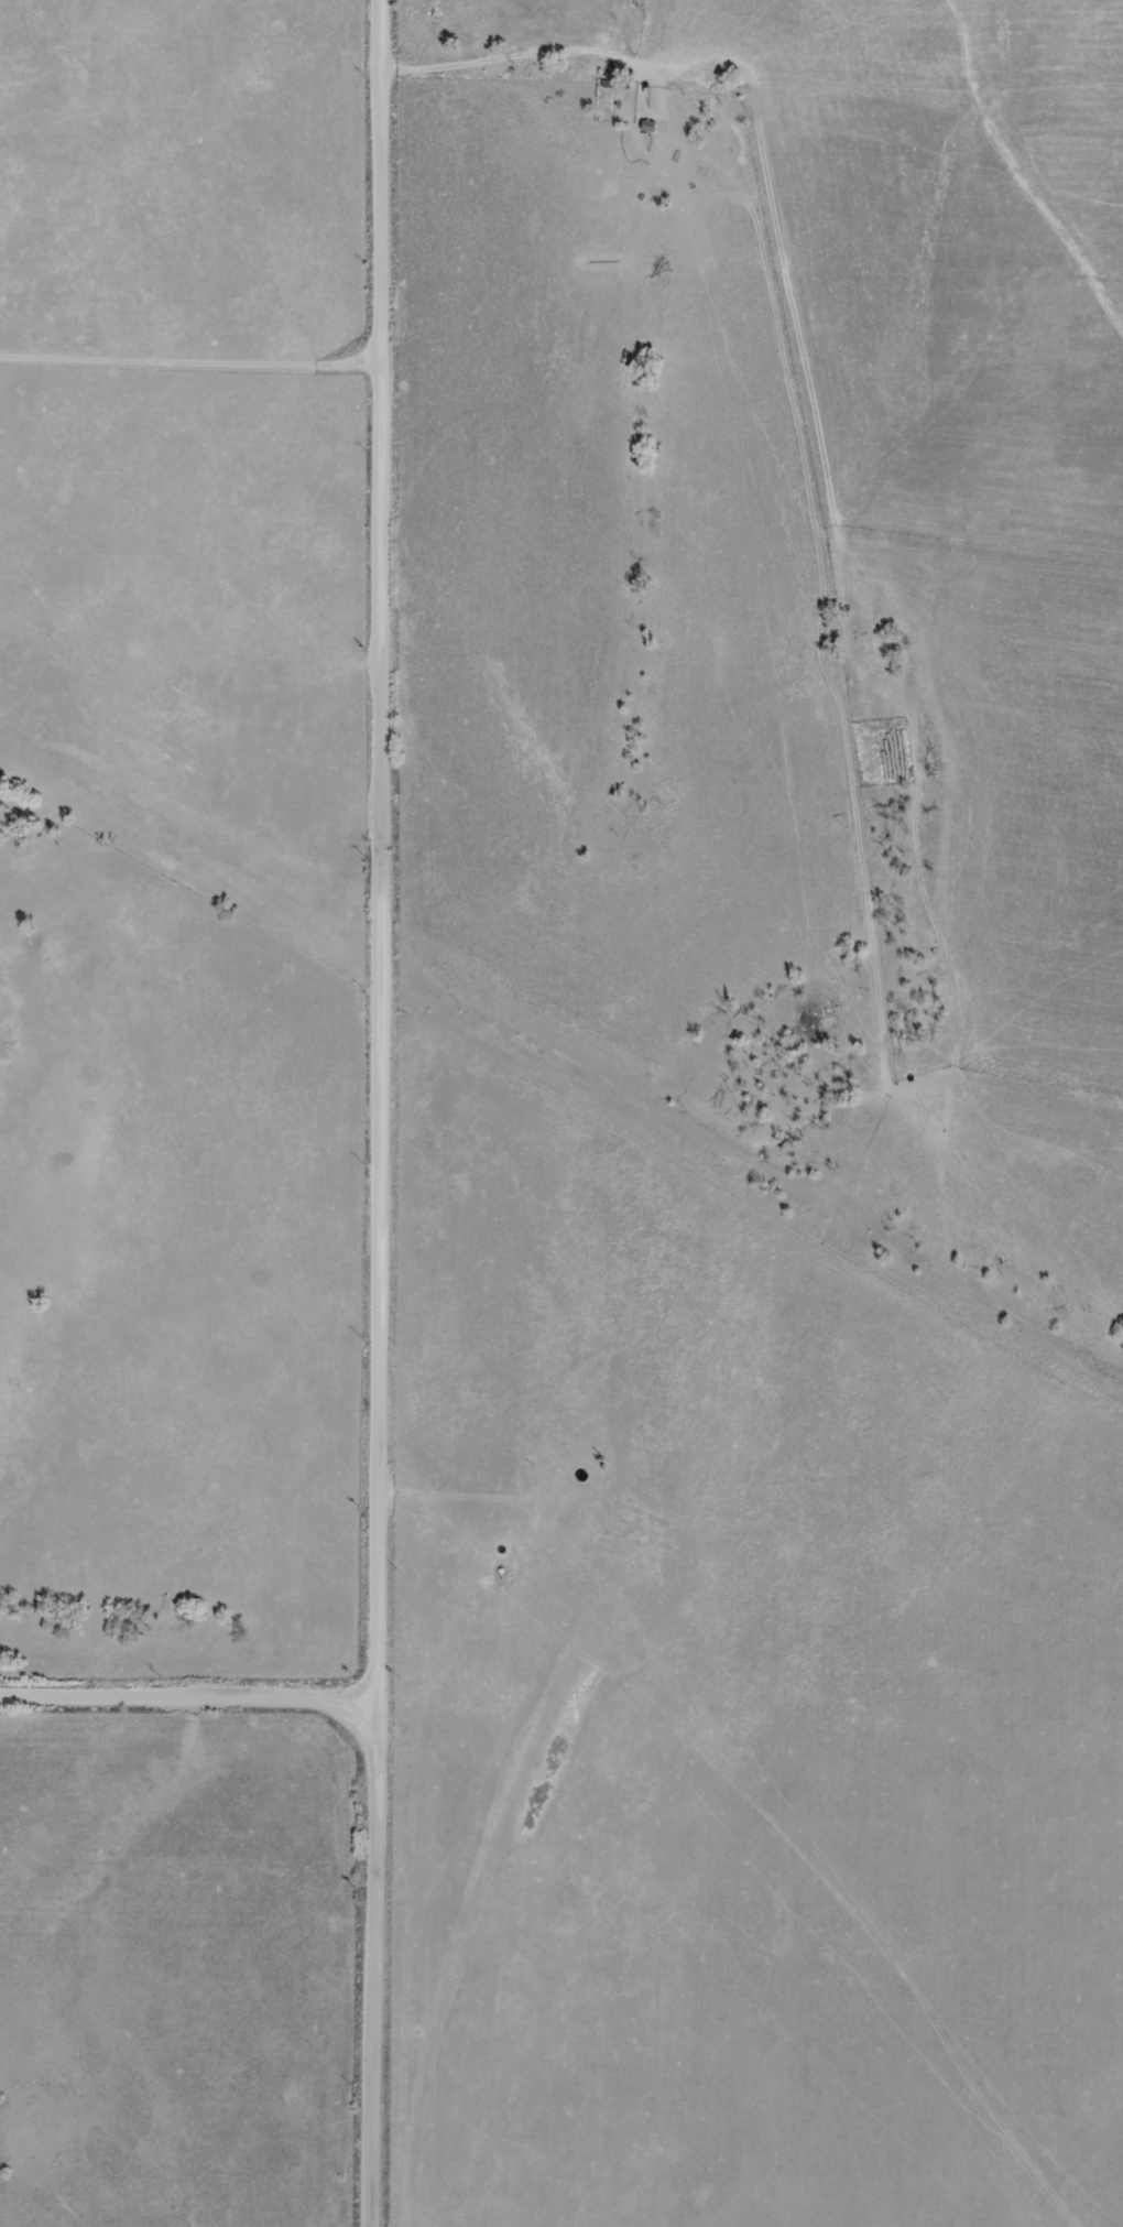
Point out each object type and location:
building: (613, 83)
road: (378, 1112)
road: (187, 1693)

